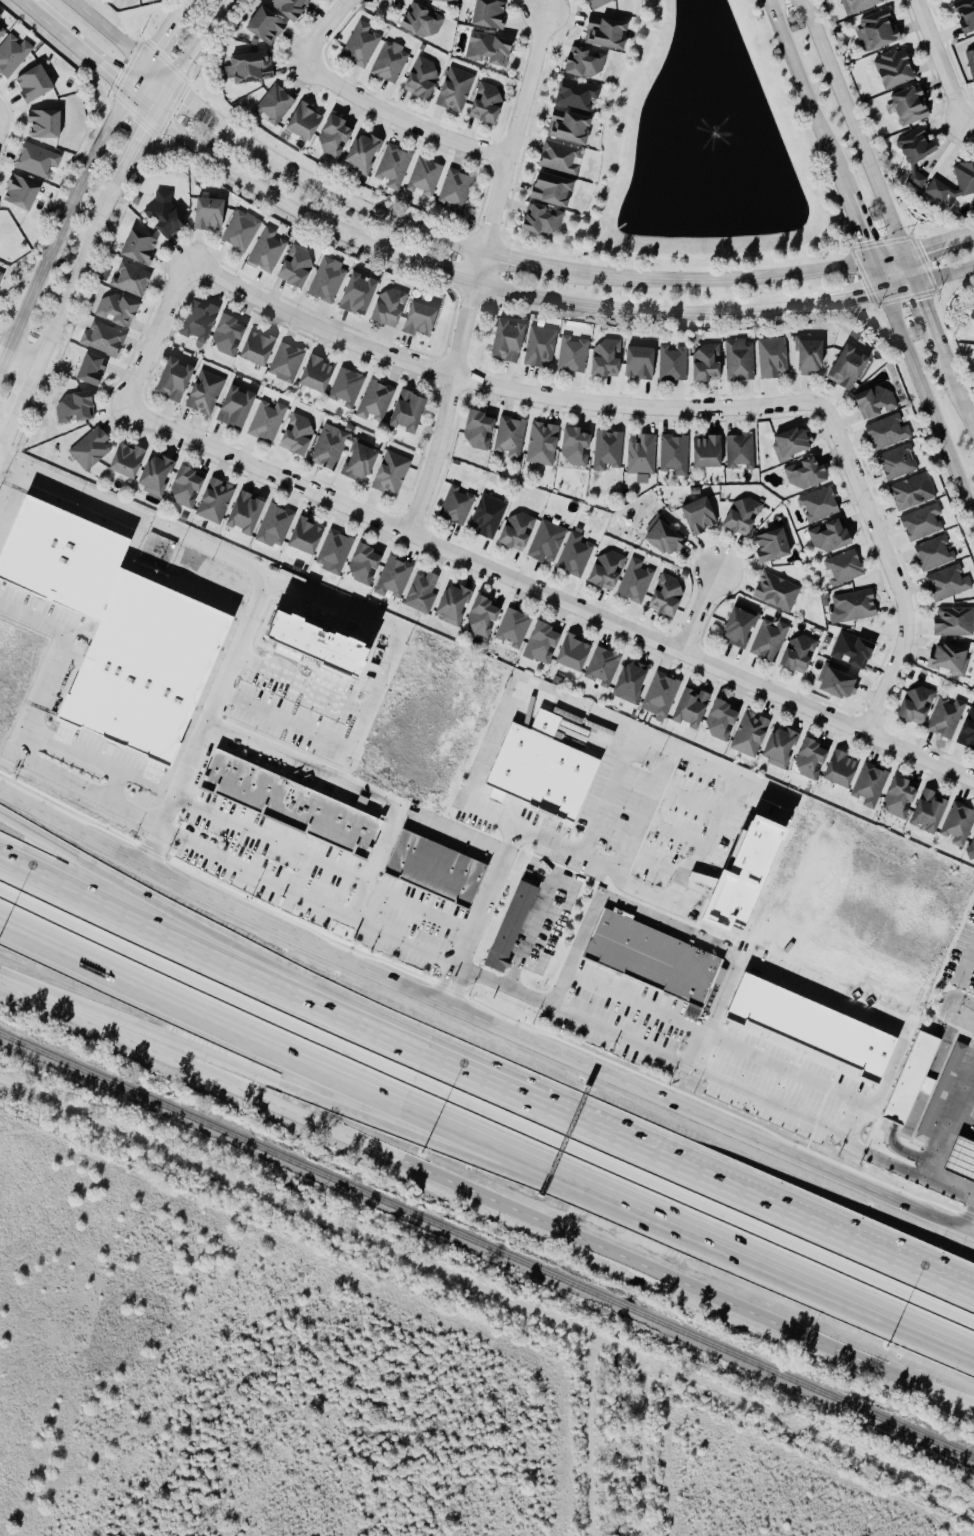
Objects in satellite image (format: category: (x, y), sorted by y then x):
road: (23, 1)
building: (450, 1)
road: (184, 3)
building: (601, 3)
building: (862, 5)
building: (293, 8)
building: (493, 14)
building: (967, 15)
building: (1, 16)
building: (425, 21)
building: (269, 26)
road: (322, 27)
building: (2, 31)
building: (879, 31)
road: (105, 32)
building: (610, 34)
road: (161, 35)
building: (363, 45)
road: (75, 46)
building: (493, 49)
building: (13, 55)
road: (187, 55)
building: (972, 59)
building: (391, 62)
road: (937, 62)
building: (588, 64)
traffic signals: (142, 65)
building: (252, 68)
building: (899, 69)
road: (154, 76)
building: (424, 78)
building: (37, 84)
traffic signals: (167, 87)
traffic signals: (127, 90)
building: (457, 90)
building: (580, 95)
road: (805, 98)
road: (139, 101)
building: (276, 104)
building: (489, 104)
building: (914, 106)
road: (193, 110)
traffic signals: (152, 112)
road: (398, 118)
building: (308, 122)
road: (967, 122)
building: (48, 124)
building: (574, 127)
road: (848, 128)
road: (511, 133)
building: (338, 136)
fountain: (705, 141)
building: (921, 147)
road: (129, 153)
building: (366, 153)
building: (563, 159)
building: (40, 160)
building: (395, 167)
building: (426, 177)
building: (919, 179)
building: (938, 183)
building: (457, 190)
building: (556, 190)
building: (20, 192)
road: (264, 193)
building: (0, 206)
road: (64, 212)
building: (212, 214)
building: (169, 216)
building: (546, 221)
road: (858, 229)
building: (243, 231)
road: (937, 246)
building: (143, 248)
building: (269, 251)
traffic signals: (900, 257)
traffic signals: (871, 262)
building: (299, 266)
road: (431, 268)
road: (476, 269)
road: (546, 270)
road: (906, 271)
building: (2, 278)
road: (73, 279)
building: (134, 280)
building: (329, 280)
road: (928, 280)
traffic signals: (912, 285)
traffic signals: (882, 291)
building: (362, 295)
road: (844, 297)
building: (392, 308)
road: (638, 309)
building: (120, 310)
road: (923, 314)
building: (424, 320)
building: (204, 322)
road: (153, 334)
building: (232, 335)
building: (106, 340)
building: (512, 342)
building: (543, 347)
building: (261, 349)
road: (17, 355)
building: (575, 355)
building: (813, 356)
building: (774, 358)
building: (610, 359)
building: (741, 360)
building: (289, 363)
building: (643, 363)
building: (674, 364)
building: (710, 364)
building: (91, 368)
building: (851, 368)
building: (320, 375)
building: (178, 380)
road: (483, 385)
building: (348, 387)
road: (922, 392)
road: (954, 392)
road: (23, 393)
building: (208, 393)
building: (377, 400)
building: (878, 403)
building: (79, 408)
building: (239, 408)
road: (444, 409)
building: (412, 412)
building: (269, 421)
building: (483, 431)
building: (889, 432)
building: (301, 435)
road: (5, 436)
building: (512, 437)
building: (545, 444)
building: (796, 445)
building: (331, 447)
building: (579, 447)
building: (93, 448)
building: (610, 451)
building: (739, 451)
building: (711, 453)
building: (677, 454)
building: (644, 457)
building: (131, 461)
building: (899, 462)
building: (364, 464)
building: (394, 474)
building: (808, 474)
building: (159, 475)
building: (190, 487)
building: (914, 492)
building: (218, 501)
road: (13, 502)
building: (818, 504)
building: (459, 506)
building: (490, 516)
building: (703, 517)
building: (747, 517)
building: (263, 520)
building: (923, 522)
building: (520, 531)
building: (833, 537)
building: (310, 538)
building: (669, 540)
building: (549, 542)
building: (776, 547)
building: (337, 552)
building: (935, 553)
road: (211, 555)
building: (576, 555)
road: (886, 563)
building: (368, 565)
building: (842, 568)
building: (610, 571)
building: (396, 577)
building: (637, 582)
building: (949, 582)
building: (423, 592)
building: (778, 592)
road: (548, 596)
building: (668, 597)
building: (455, 604)
building: (851, 606)
road: (697, 611)
building: (484, 618)
road: (371, 620)
building: (955, 622)
building: (514, 629)
building: (741, 629)
building: (115, 631)
building: (767, 639)
building: (543, 644)
building: (316, 646)
building: (851, 651)
building: (798, 653)
building: (575, 654)
road: (56, 658)
building: (947, 660)
building: (601, 667)
building: (629, 683)
building: (837, 684)
building: (659, 695)
road: (514, 697)
building: (915, 705)
building: (690, 707)
building: (944, 717)
building: (720, 721)
building: (967, 730)
road: (356, 731)
building: (749, 735)
building: (778, 747)
building: (809, 759)
road: (306, 763)
building: (540, 768)
building: (840, 770)
building: (868, 786)
road: (88, 792)
building: (899, 798)
building: (293, 799)
road: (645, 803)
building: (927, 812)
building: (956, 825)
road: (269, 838)
road: (710, 840)
building: (971, 849)
building: (435, 869)
building: (743, 877)
road: (334, 912)
building: (505, 927)
road: (39, 931)
road: (530, 937)
road: (727, 955)
building: (650, 957)
road: (972, 958)
road: (316, 984)
road: (449, 988)
road: (632, 999)
road: (318, 1004)
road: (77, 1008)
parking lot: (626, 1010)
building: (808, 1025)
road: (484, 1026)
building: (955, 1048)
building: (910, 1079)
building: (927, 1105)
road: (964, 1118)
road: (949, 1124)
road: (829, 1128)
road: (416, 1138)
road: (525, 1143)
building: (961, 1159)
gas station: (961, 1159)
road: (805, 1220)
road: (564, 1222)
road: (970, 1234)
railway: (487, 1247)

